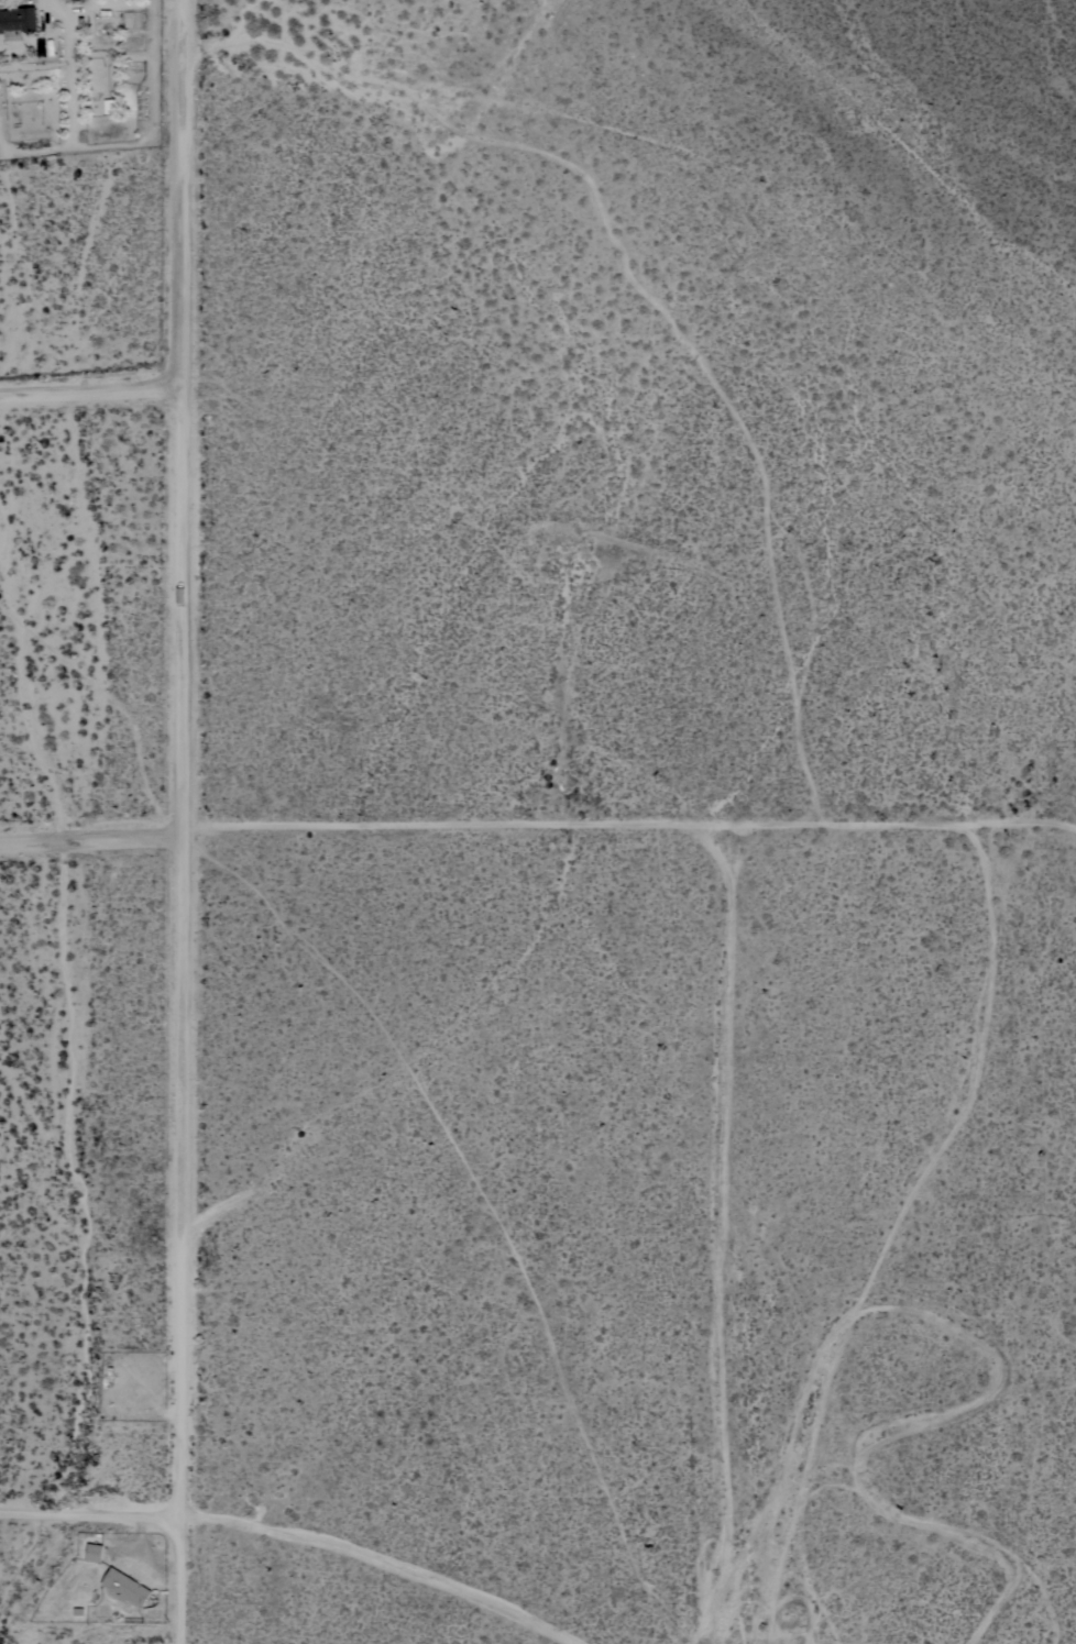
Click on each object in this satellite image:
building: (17, 22)
road: (90, 395)
road: (182, 821)
road: (628, 827)
road: (90, 837)
road: (89, 1516)
building: (94, 1553)
road: (388, 1558)
building: (125, 1587)

